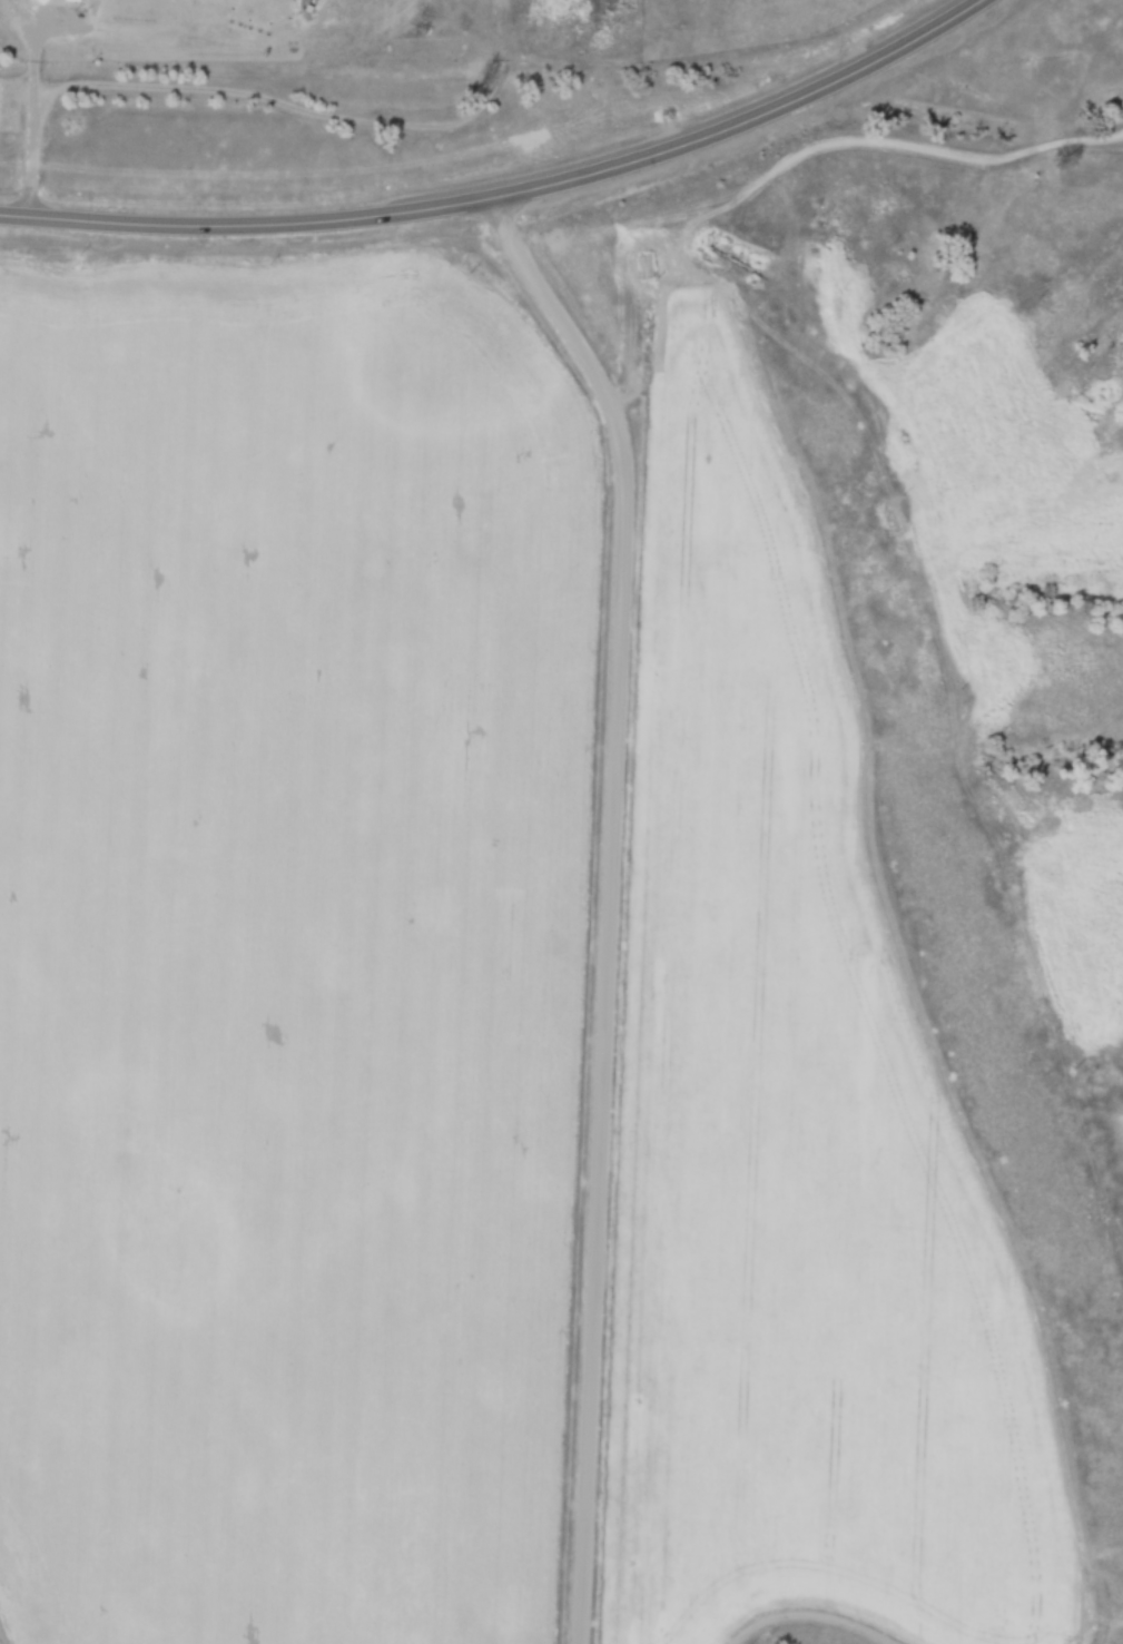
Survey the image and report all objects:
building: (40, 2)
building: (73, 3)
building: (591, 24)
road: (267, 98)
road: (506, 193)
road: (608, 902)
crop: (290, 948)

